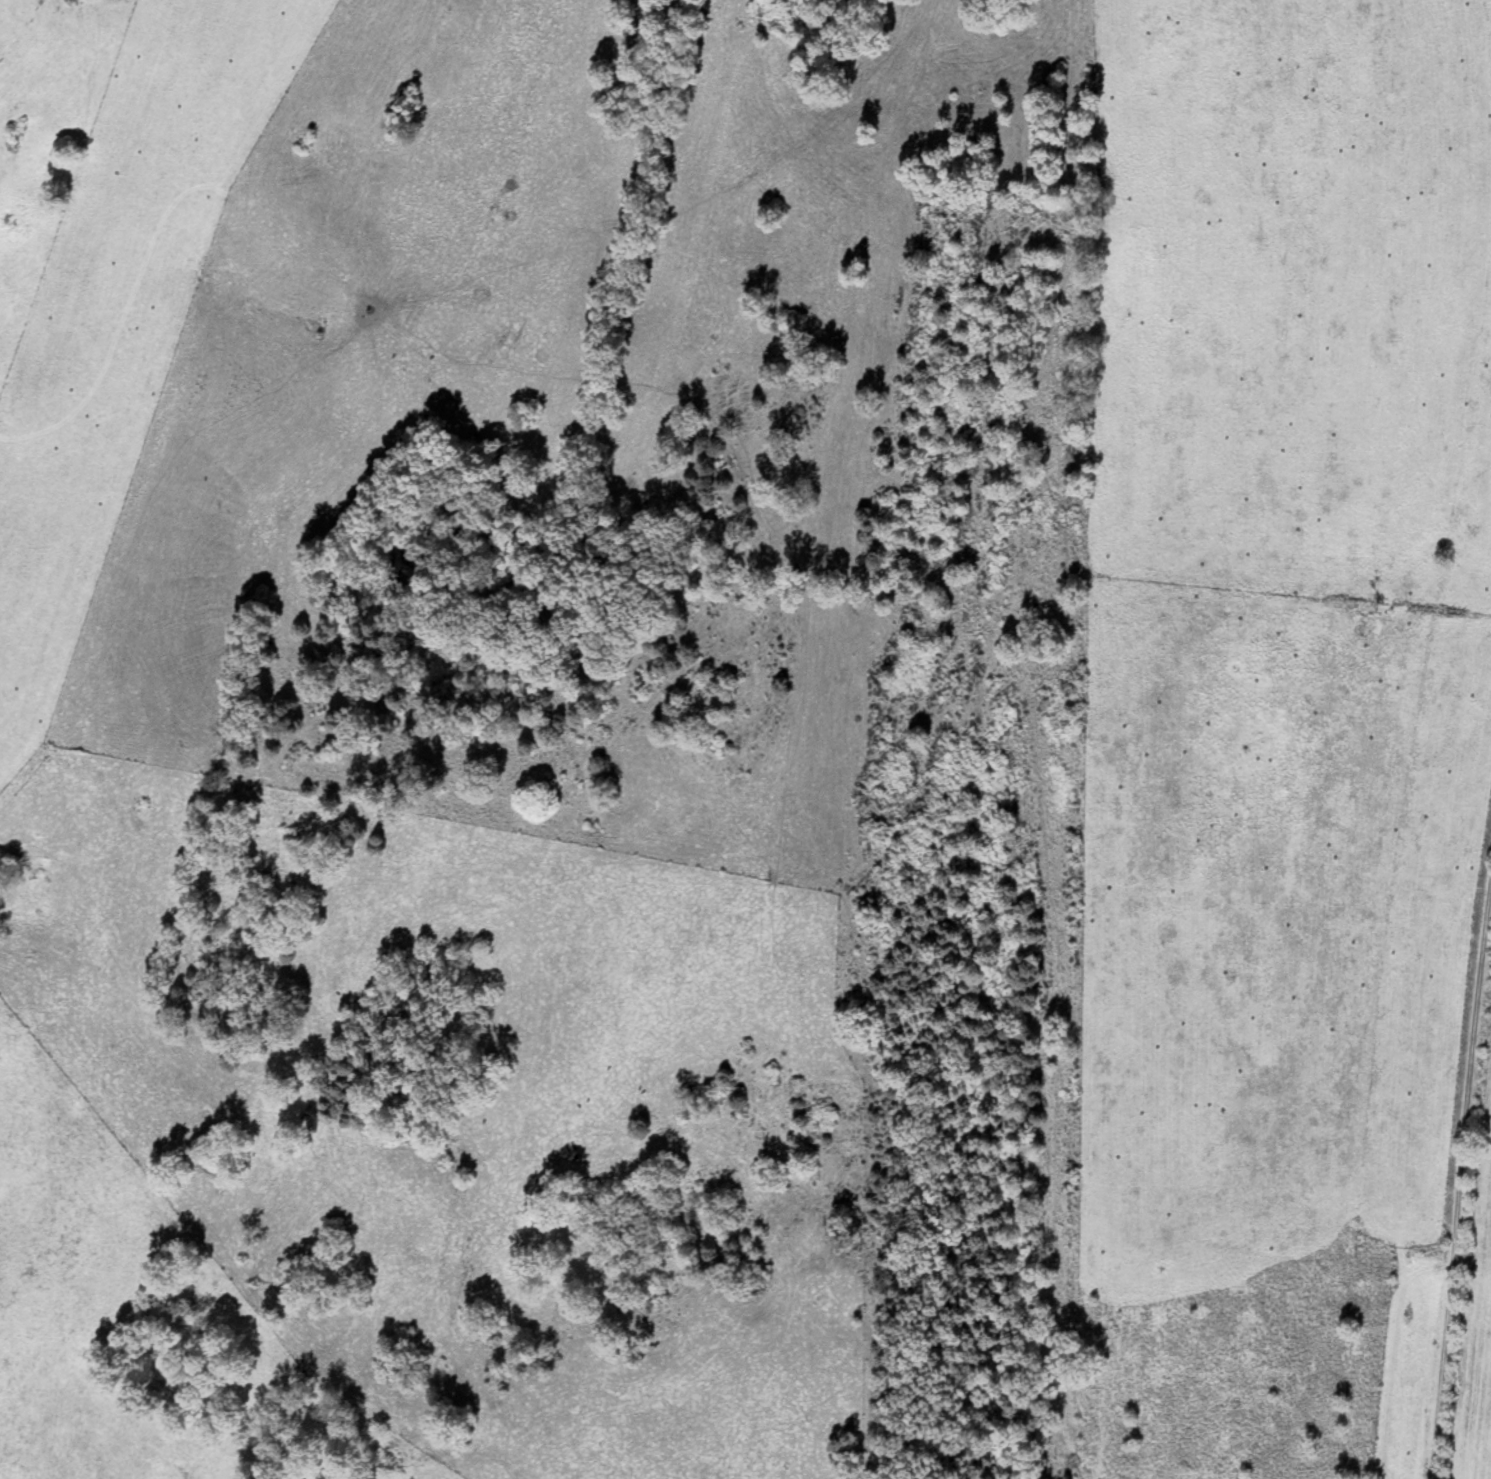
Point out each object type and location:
road: (1464, 1178)

